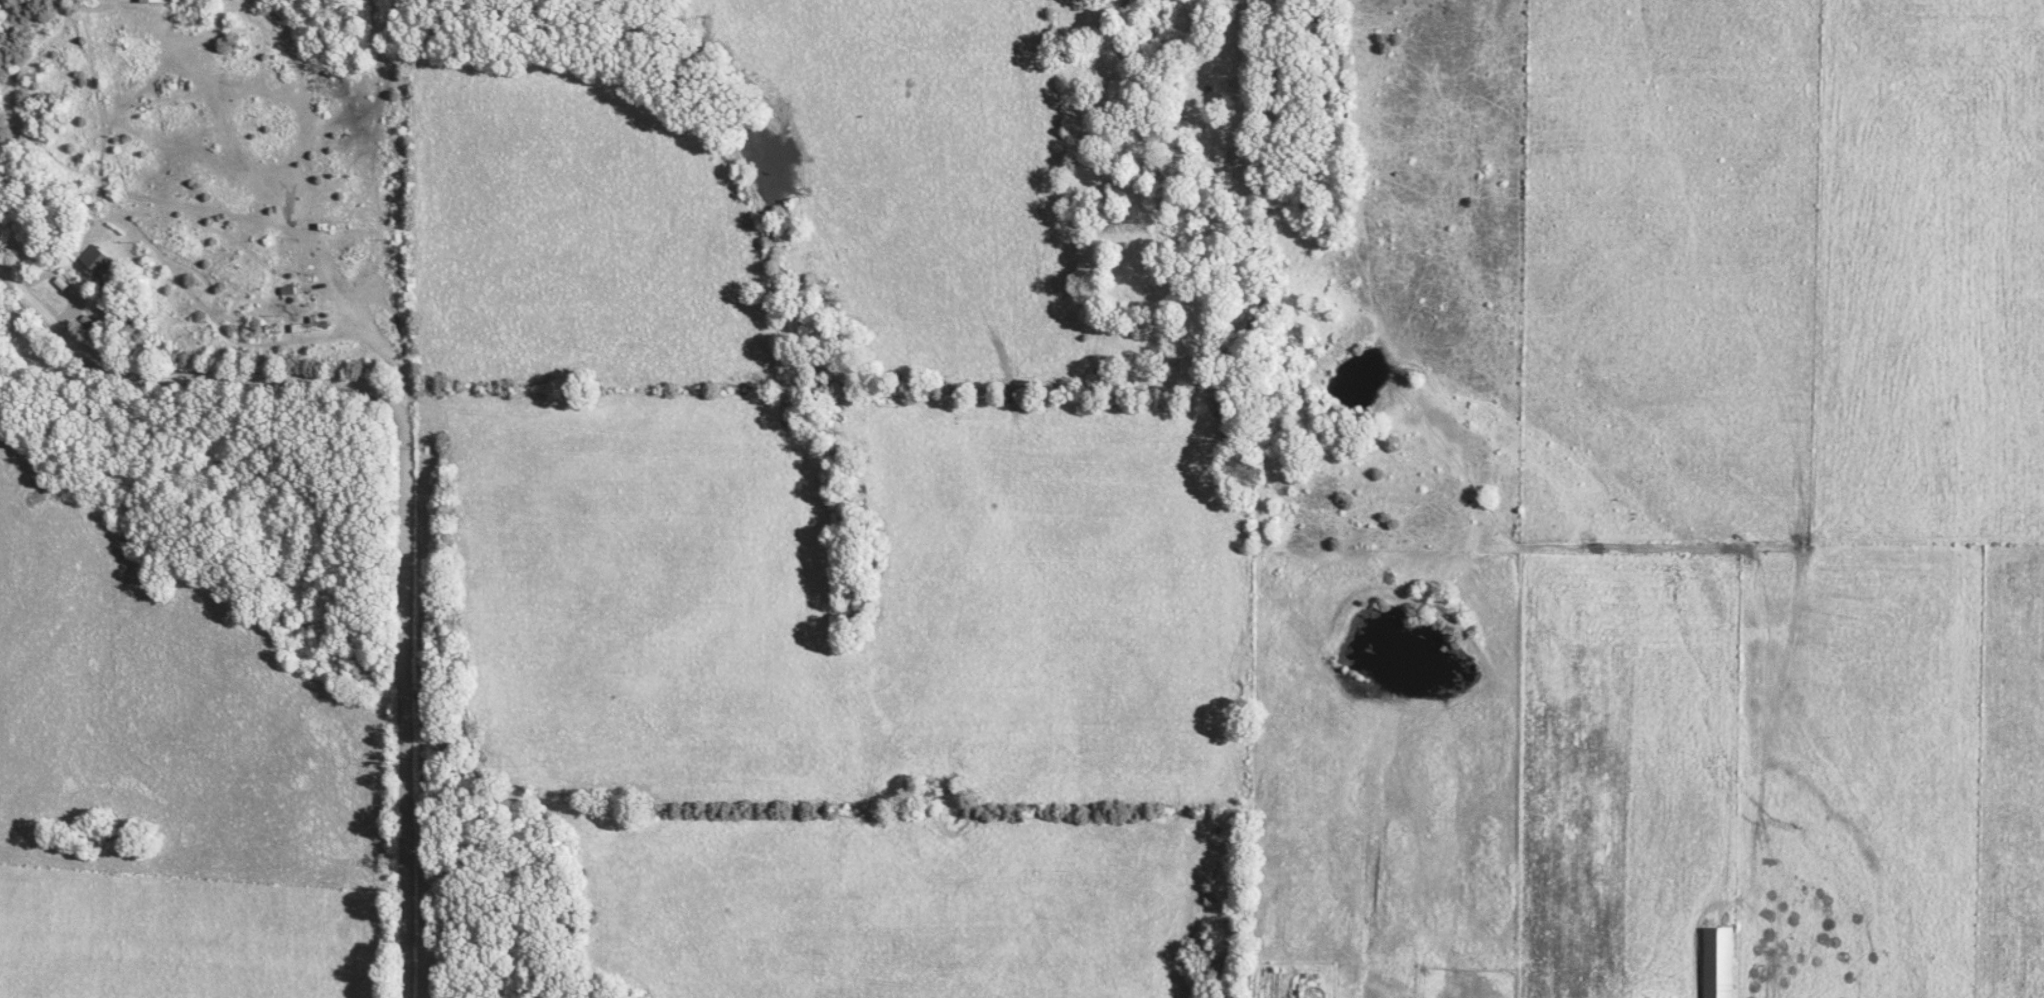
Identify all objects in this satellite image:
building: (155, 1)
building: (100, 261)
road: (399, 481)
building: (1715, 963)

